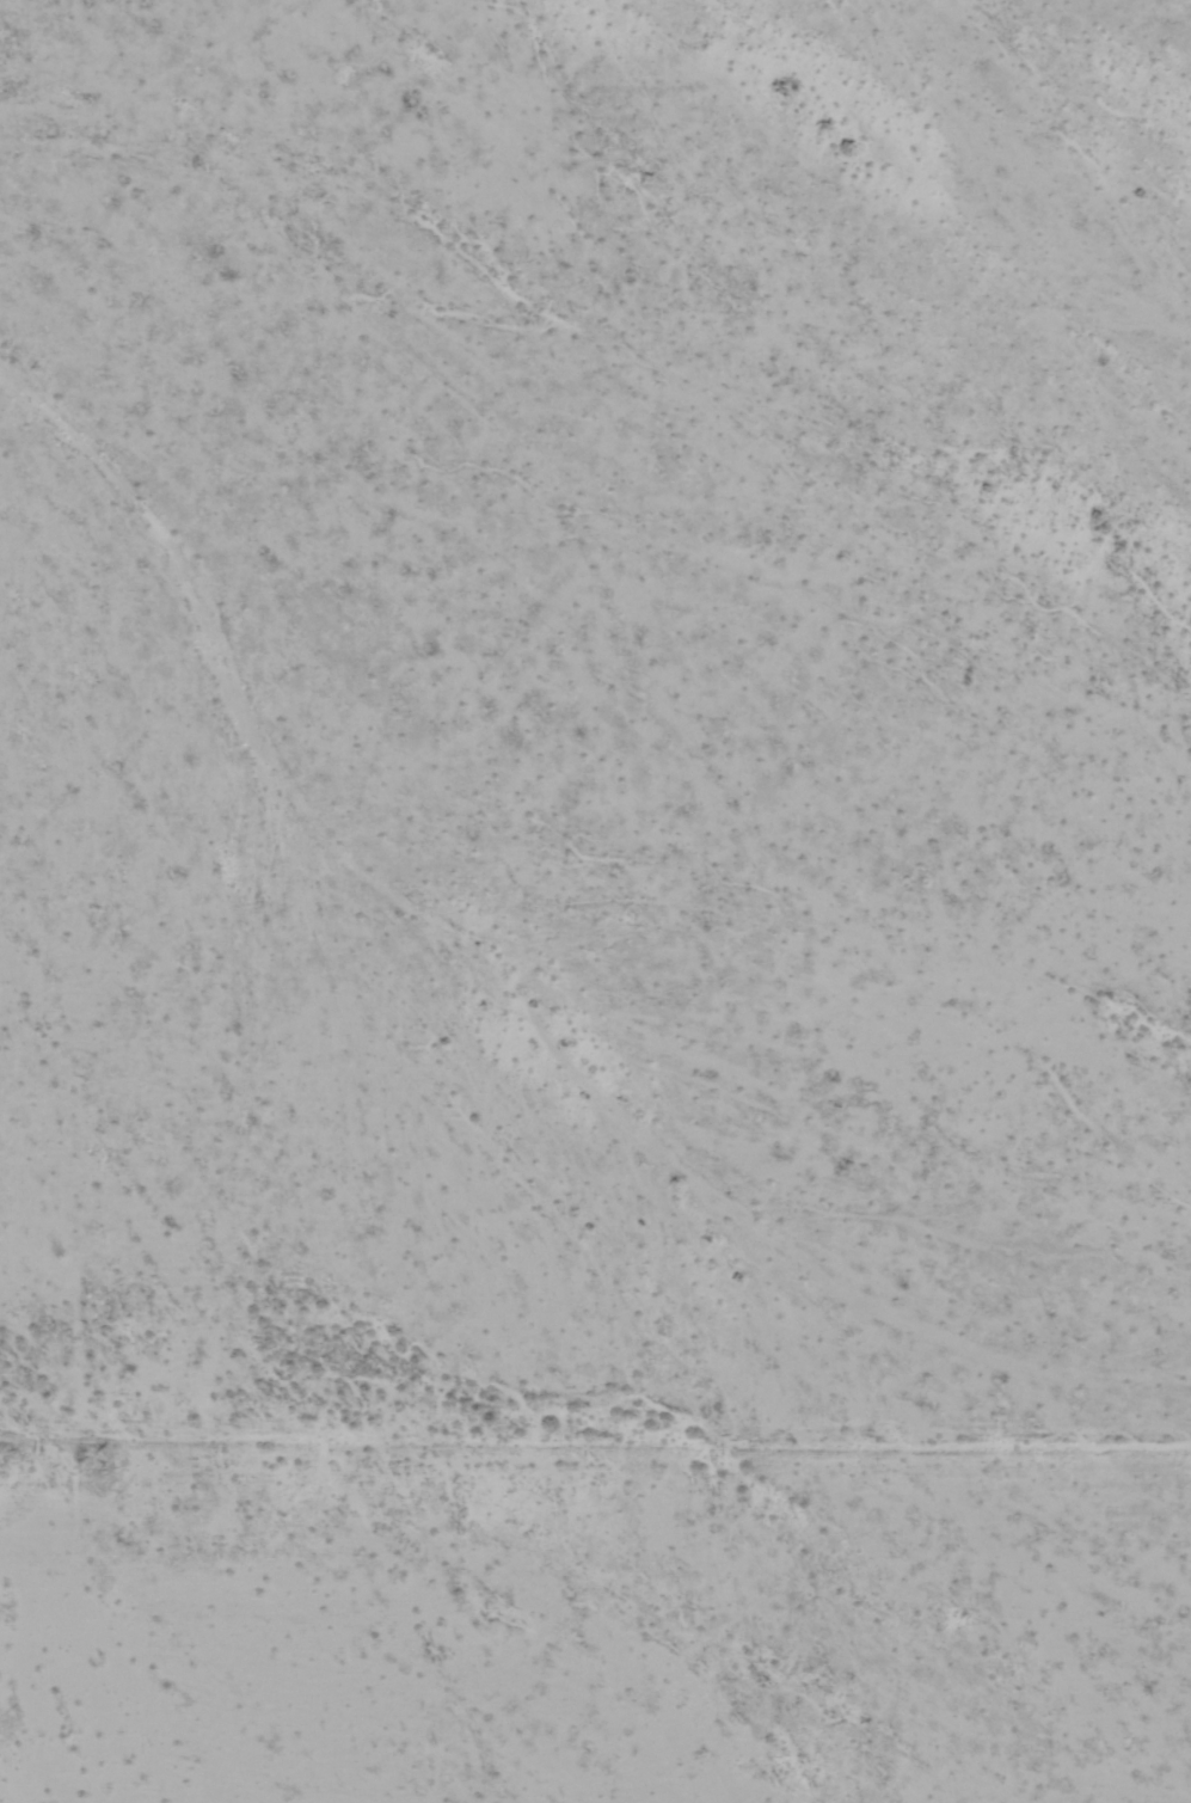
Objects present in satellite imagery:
road: (595, 1451)

